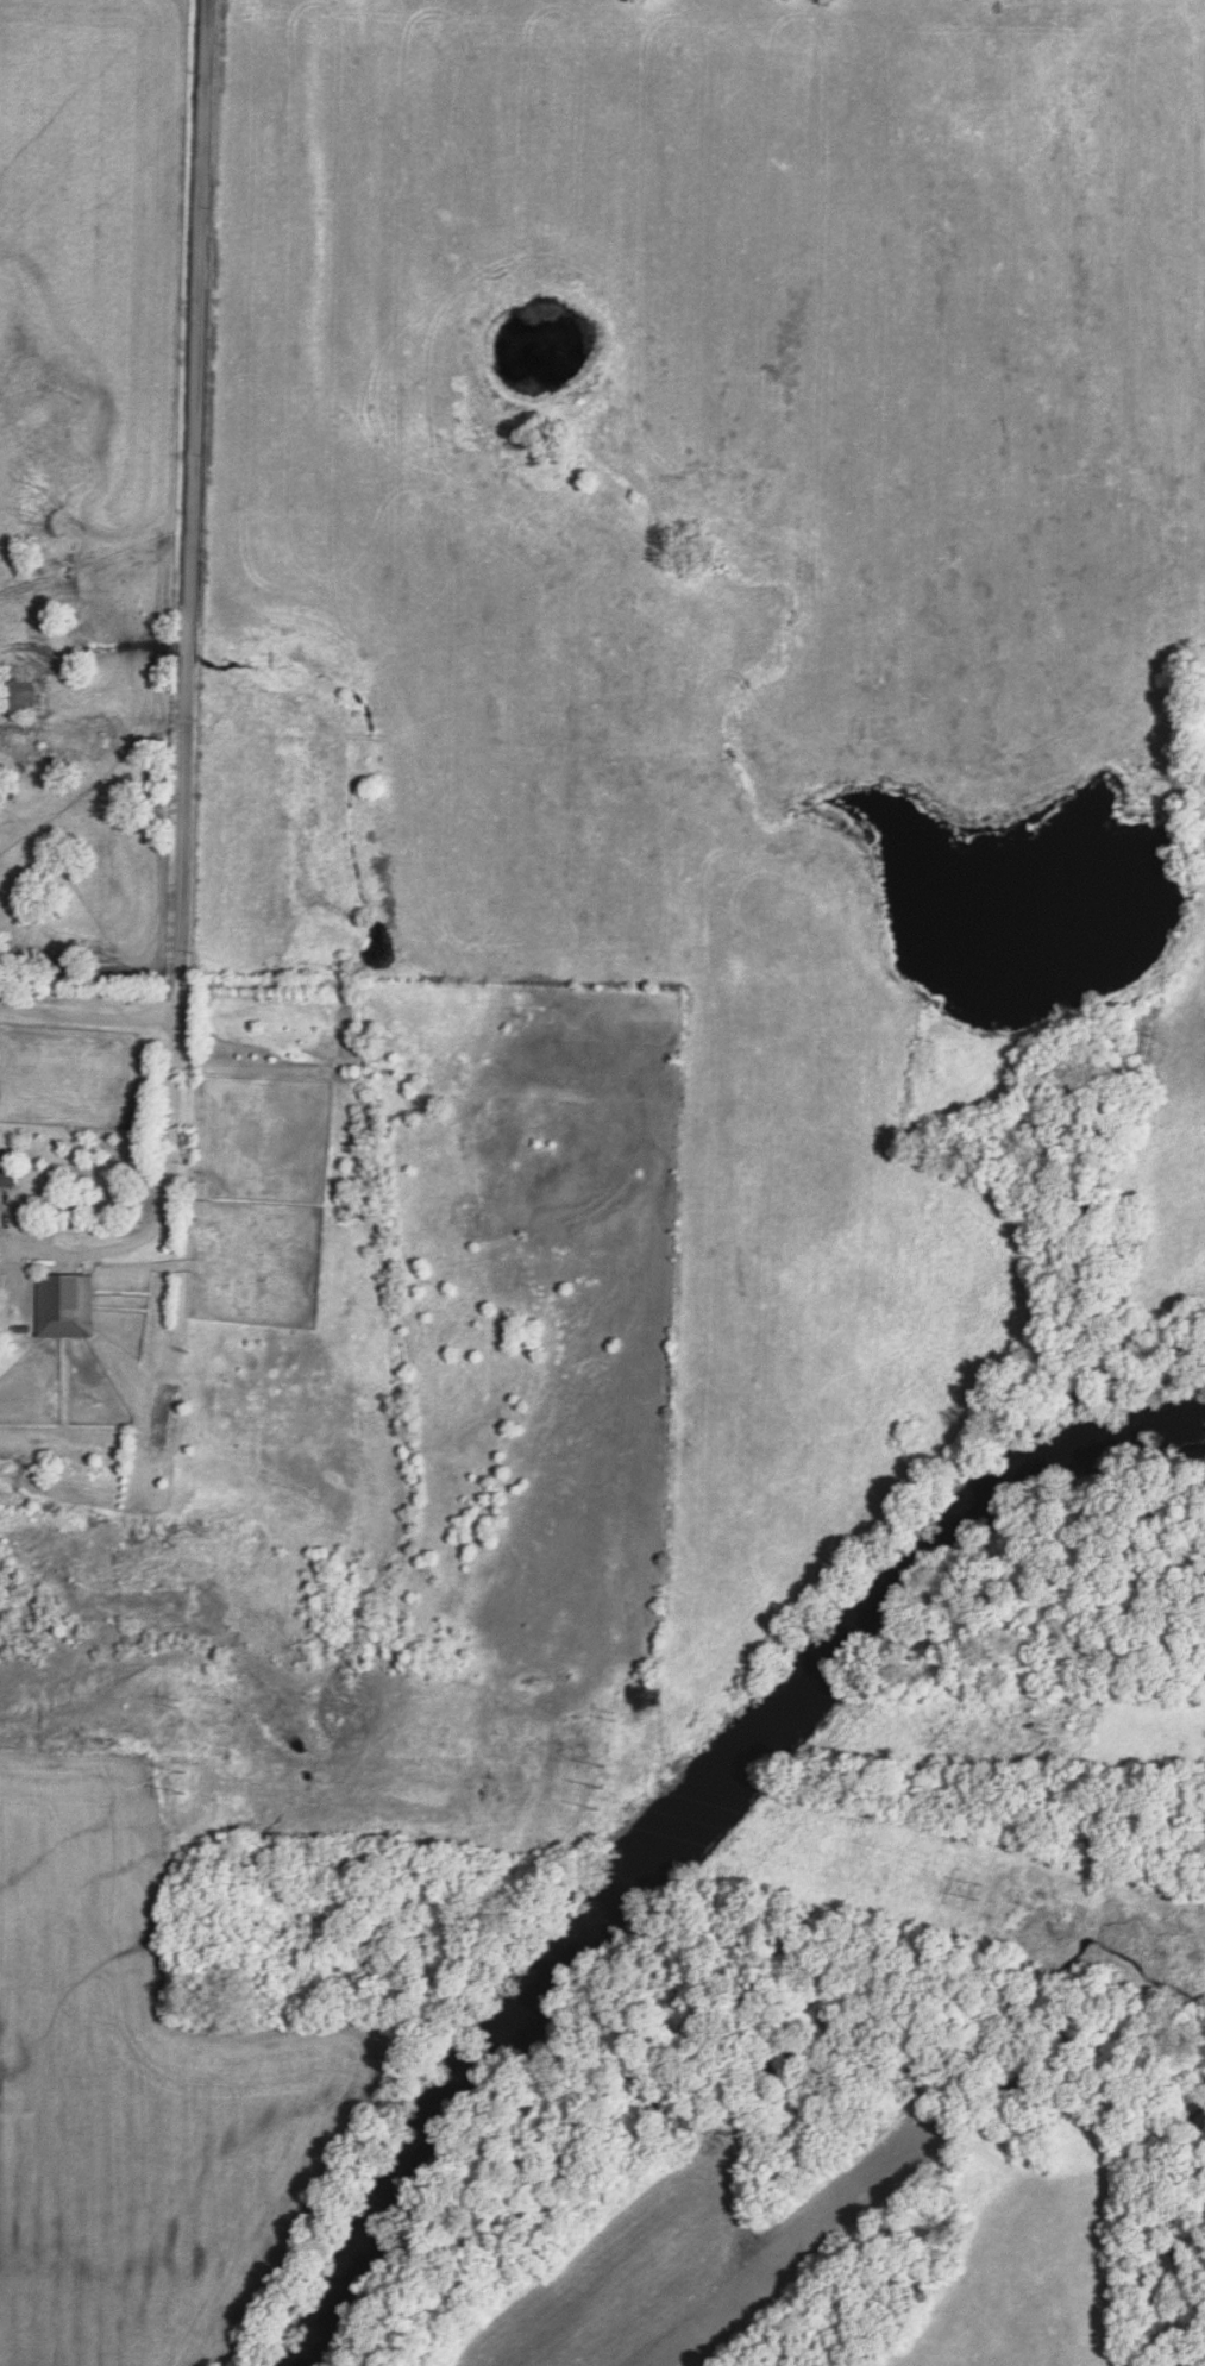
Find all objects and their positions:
road: (194, 508)
road: (89, 1013)
building: (7, 1173)
road: (172, 1199)
power tower: (181, 1702)
power tower: (619, 1713)
power tower: (1053, 1720)
power tower: (188, 1778)
power tower: (610, 1791)
river: (677, 1802)
power tower: (983, 1889)

